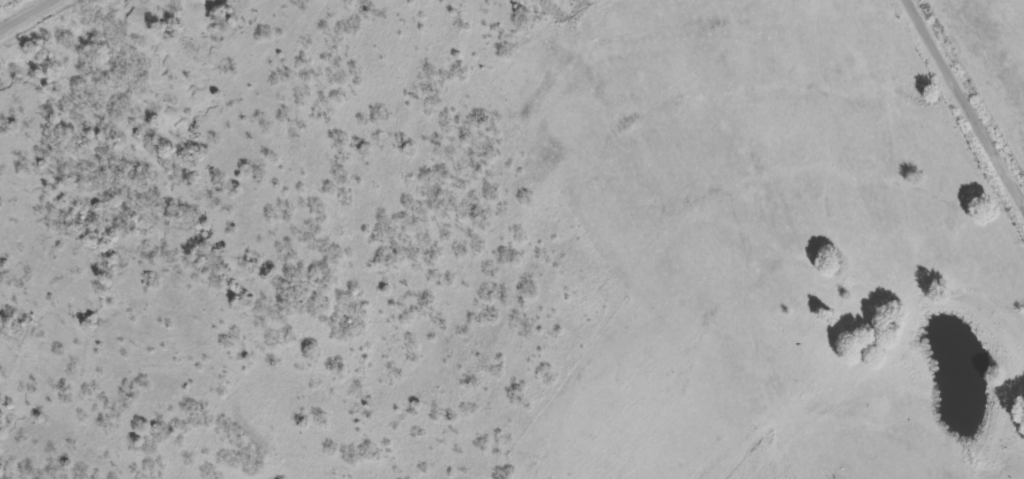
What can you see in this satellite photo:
road: (27, 15)
road: (965, 105)

